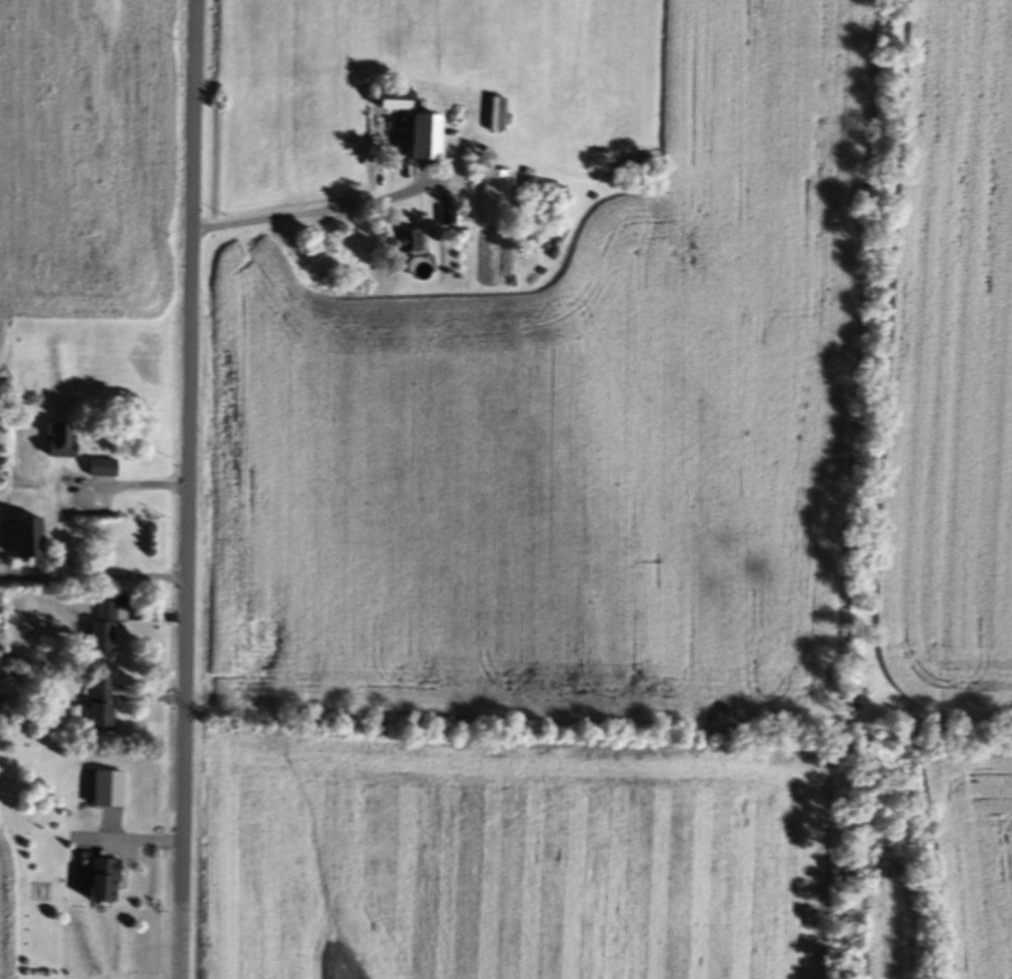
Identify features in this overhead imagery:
building: (396, 104)
building: (427, 140)
building: (497, 198)
road: (317, 215)
building: (408, 242)
building: (62, 443)
road: (137, 488)
road: (192, 489)
building: (30, 541)
road: (7, 567)
road: (4, 579)
road: (99, 580)
building: (105, 631)
building: (102, 707)
building: (105, 883)

